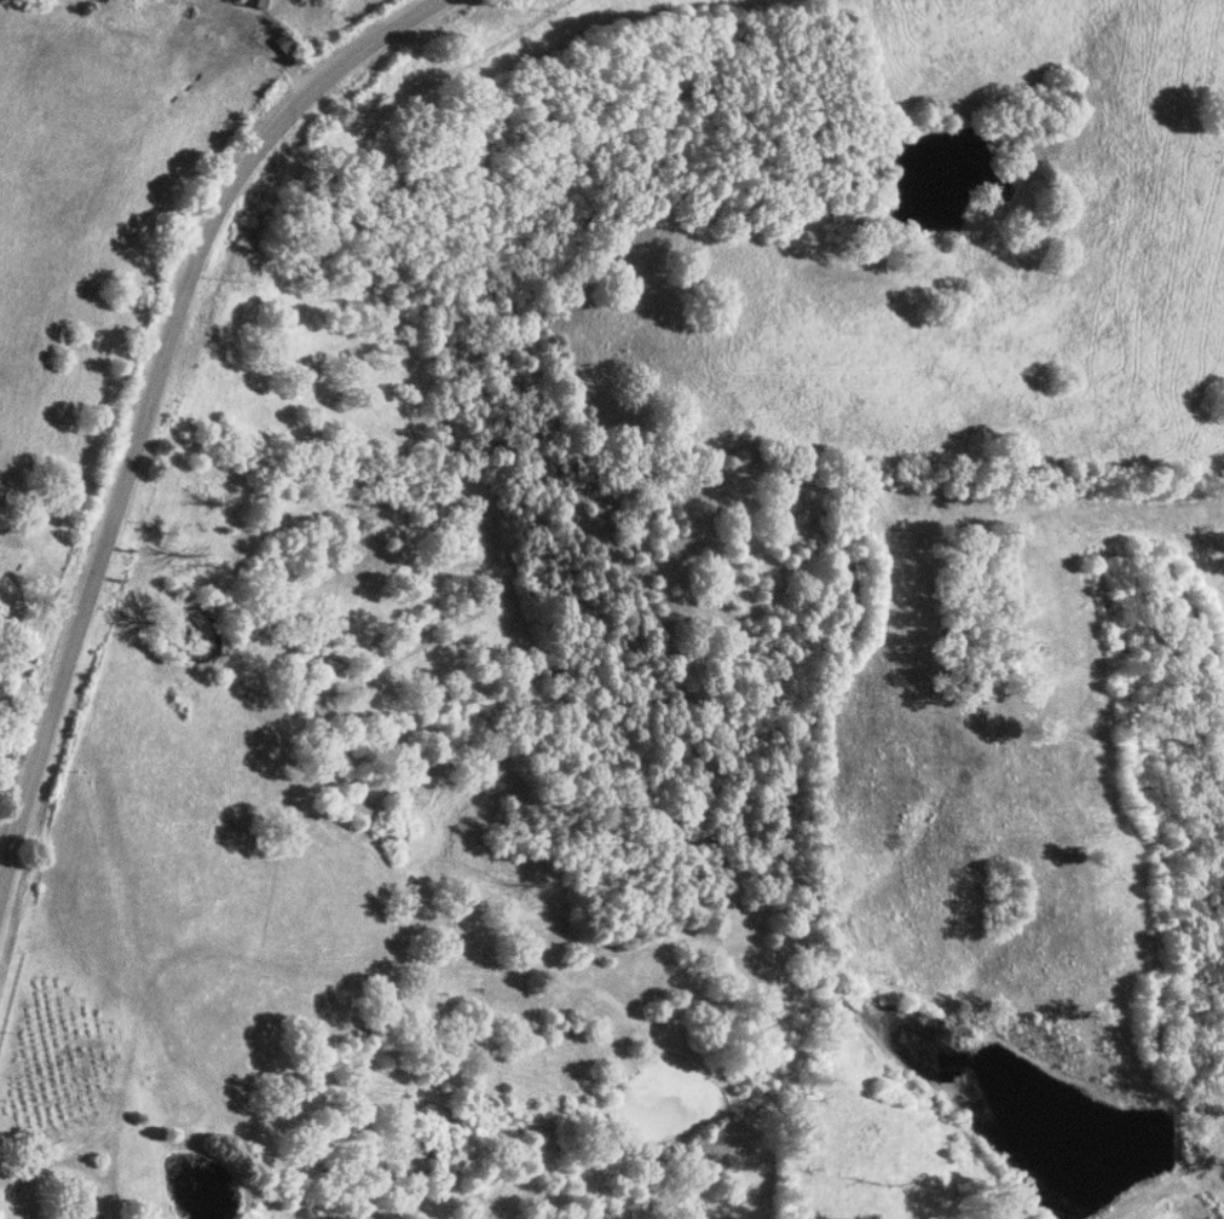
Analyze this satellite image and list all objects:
building: (254, 4)
road: (148, 395)
road: (69, 1168)

